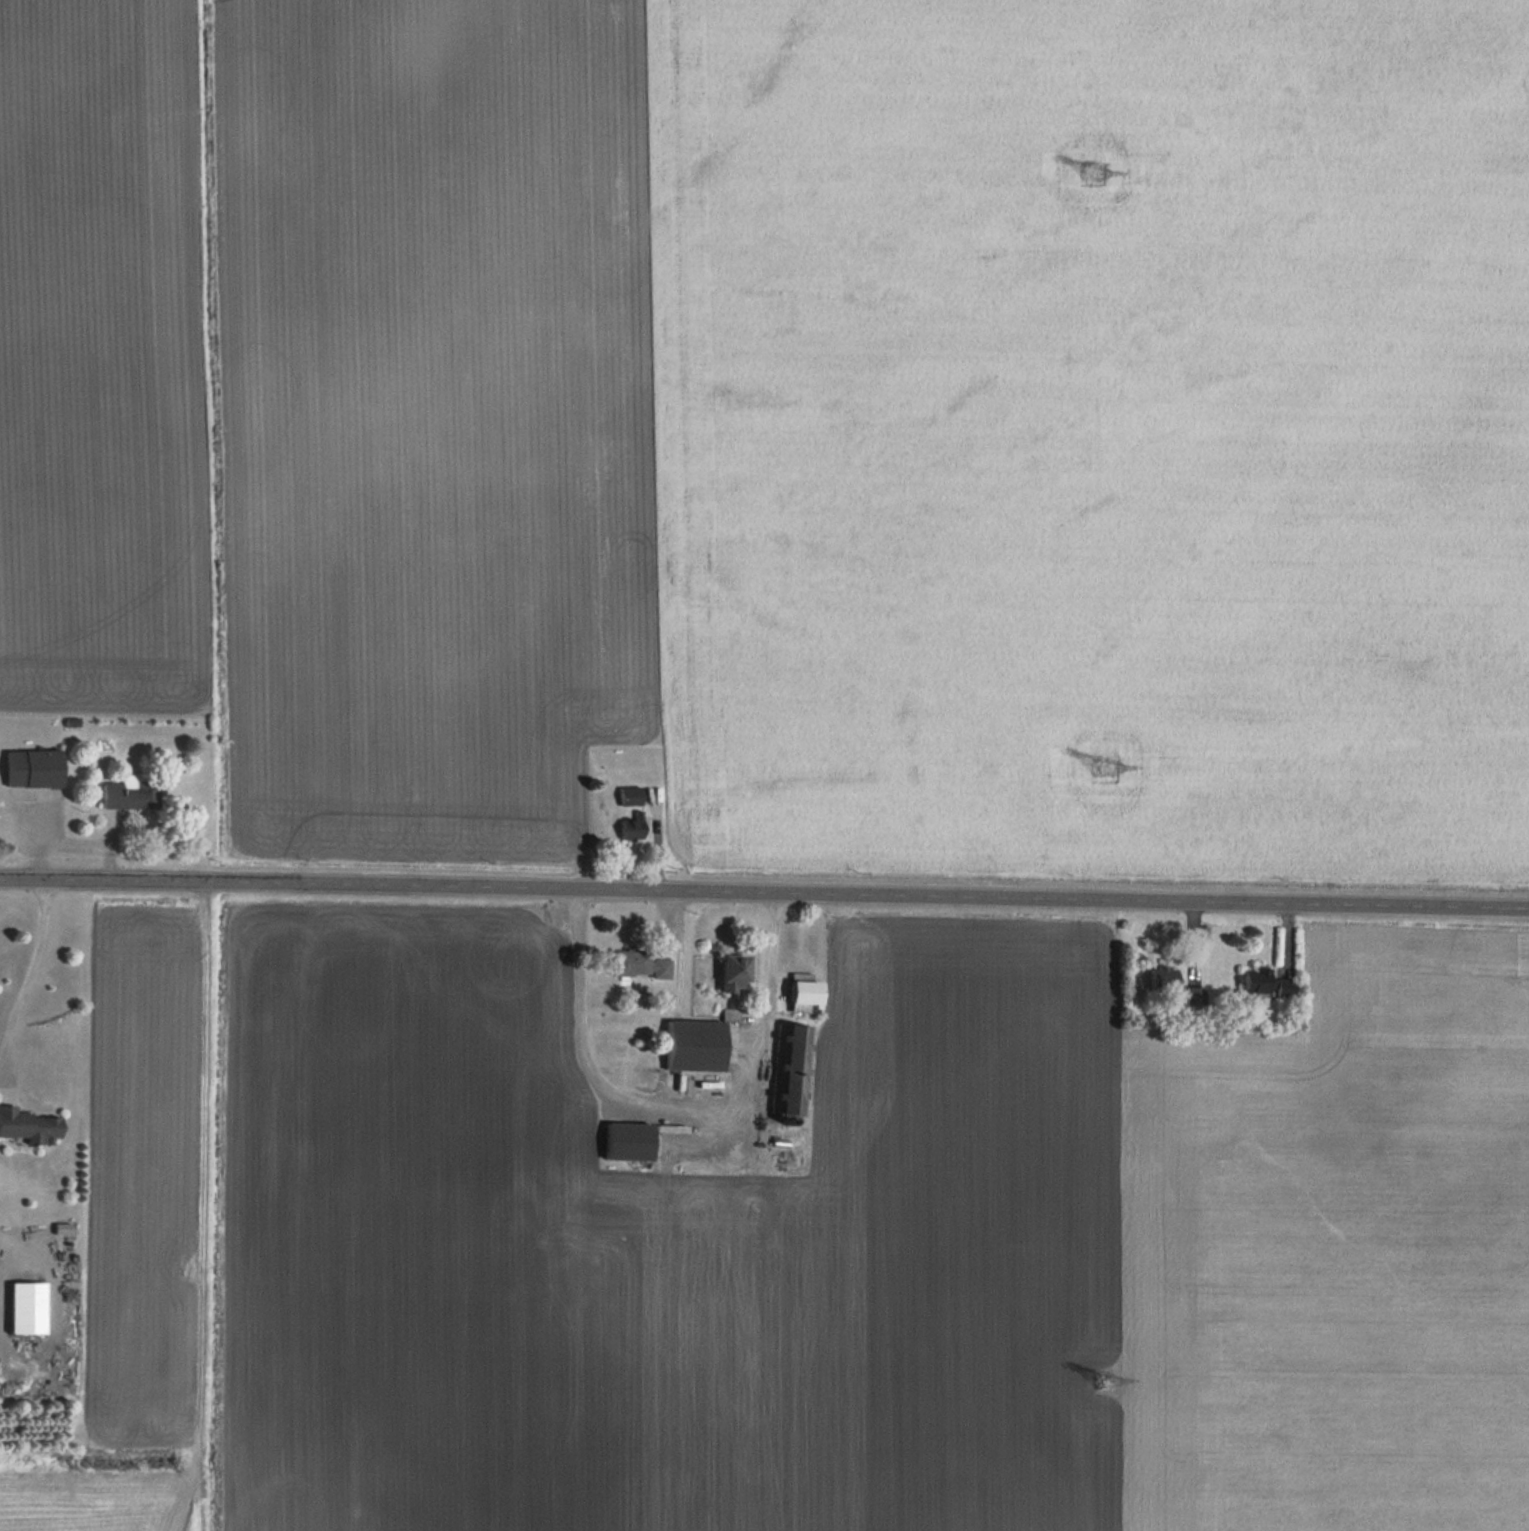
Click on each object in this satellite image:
power tower: (1090, 171)
power tower: (1102, 765)
building: (28, 768)
building: (626, 795)
building: (125, 796)
building: (628, 825)
road: (764, 890)
building: (635, 964)
building: (730, 973)
building: (1161, 978)
building: (1254, 980)
building: (1283, 987)
road: (22, 988)
building: (691, 1045)
building: (789, 1068)
building: (26, 1125)
building: (624, 1141)
building: (23, 1307)
power tower: (1104, 1385)

